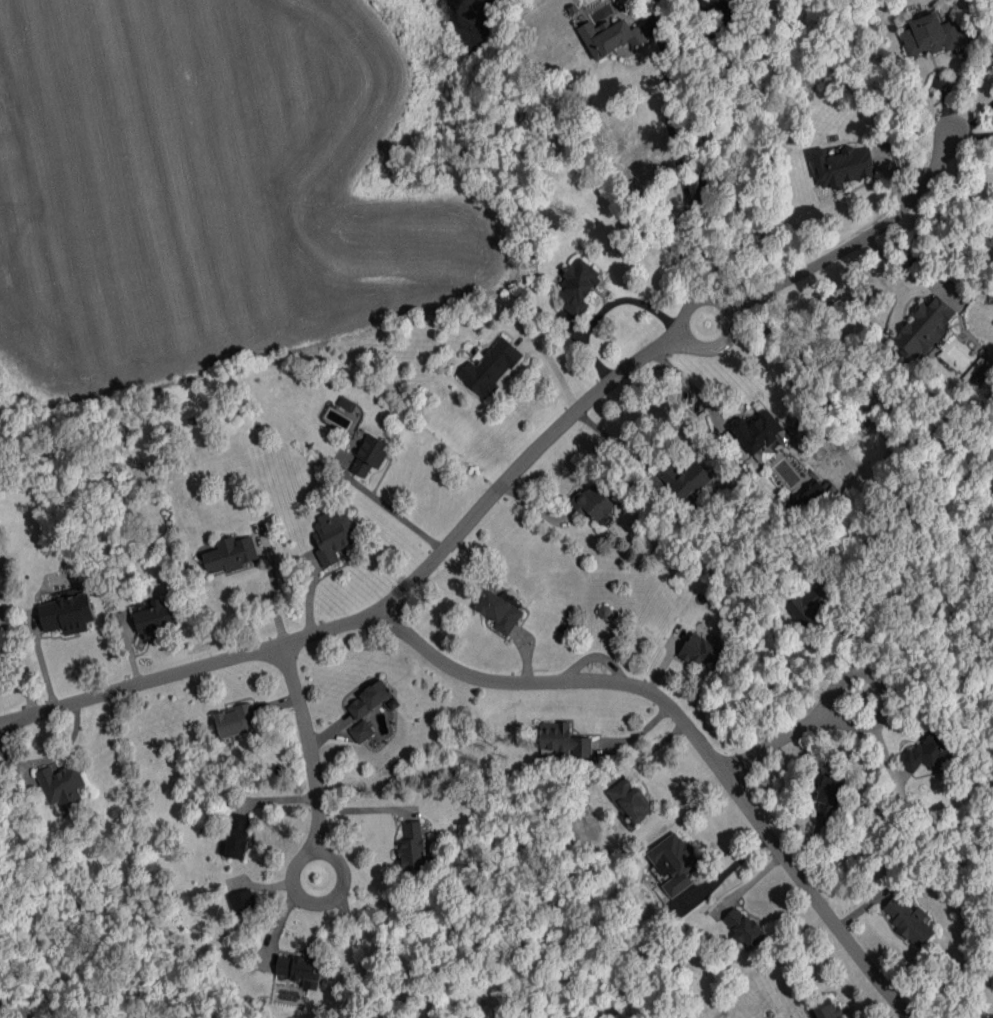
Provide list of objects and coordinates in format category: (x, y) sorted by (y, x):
building: (932, 35)
building: (610, 37)
road: (697, 112)
road: (669, 116)
road: (974, 122)
building: (843, 166)
road: (858, 240)
road: (683, 253)
building: (577, 287)
building: (924, 328)
road: (722, 348)
building: (490, 367)
building: (978, 372)
building: (761, 435)
building: (370, 455)
building: (689, 480)
building: (810, 492)
road: (380, 499)
building: (593, 503)
building: (333, 534)
building: (229, 554)
road: (275, 591)
road: (397, 601)
road: (311, 604)
building: (806, 606)
building: (499, 612)
building: (66, 614)
building: (154, 616)
road: (931, 647)
building: (702, 651)
building: (369, 699)
road: (887, 705)
building: (234, 720)
road: (13, 721)
road: (13, 727)
building: (361, 731)
road: (695, 737)
building: (564, 740)
road: (777, 742)
road: (311, 746)
building: (928, 751)
building: (61, 784)
building: (828, 797)
building: (631, 799)
building: (237, 835)
building: (414, 848)
building: (674, 863)
road: (725, 871)
road: (304, 897)
building: (244, 900)
building: (909, 920)
building: (744, 927)
road: (359, 959)
building: (300, 969)
building: (992, 985)
building: (828, 1009)

